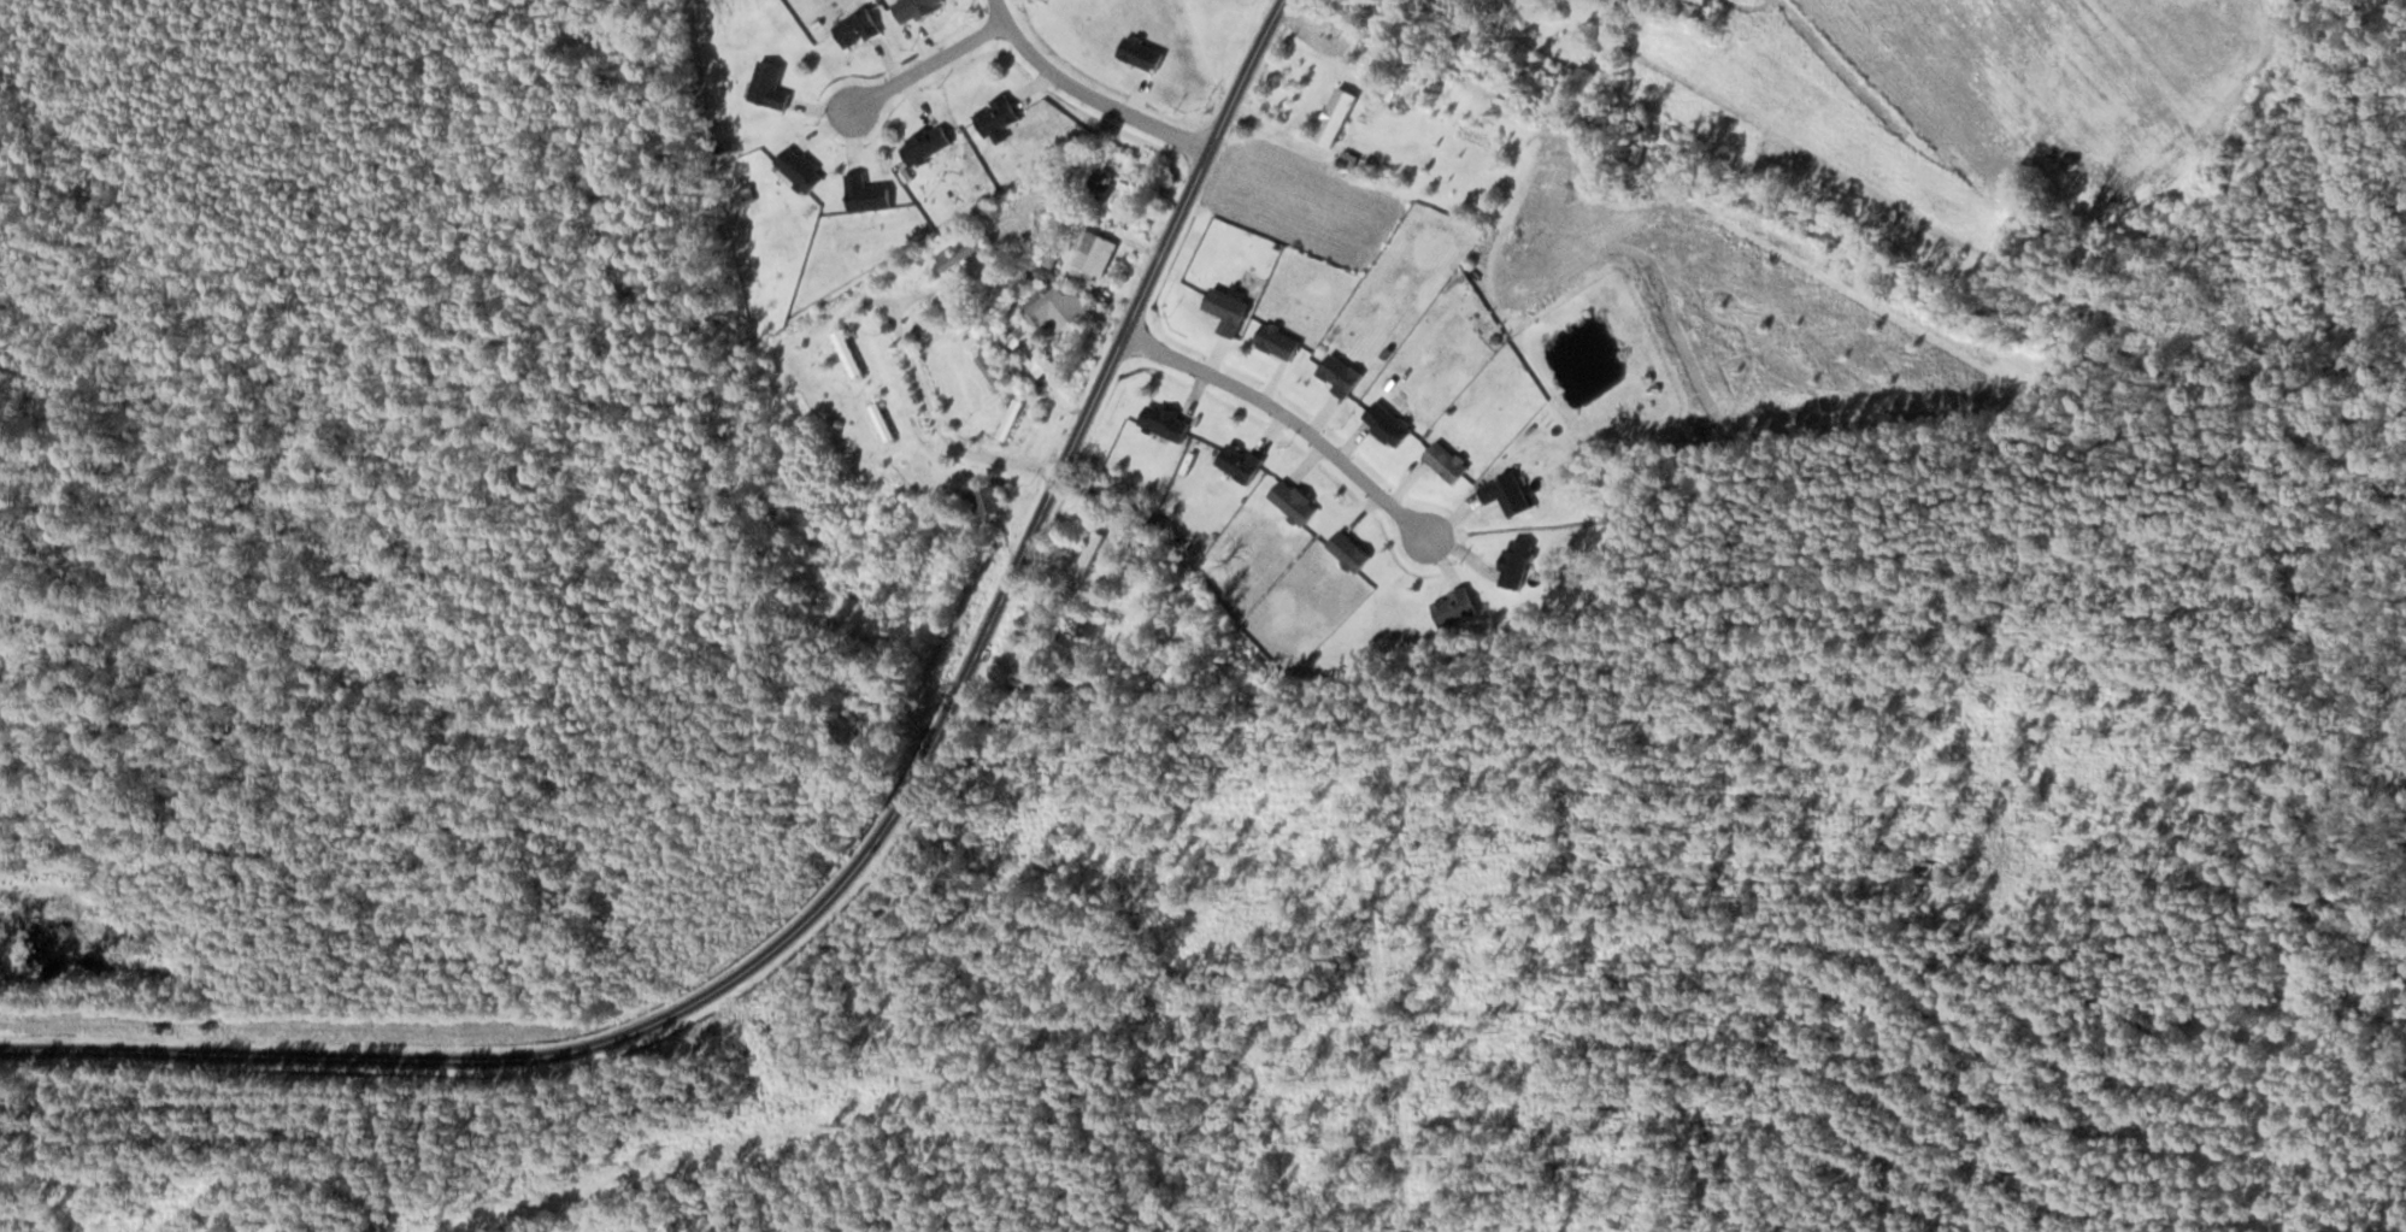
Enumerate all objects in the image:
building: (913, 7)
building: (855, 28)
building: (1140, 52)
road: (925, 64)
building: (767, 86)
road: (1086, 94)
building: (995, 116)
building: (1333, 116)
building: (924, 143)
building: (800, 167)
building: (1100, 181)
building: (865, 193)
building: (955, 255)
building: (1093, 255)
building: (1055, 306)
building: (1226, 310)
building: (1277, 340)
building: (847, 352)
building: (1028, 352)
building: (992, 371)
building: (1337, 375)
building: (1010, 419)
road: (1290, 419)
building: (881, 422)
building: (1164, 422)
building: (1386, 424)
building: (1239, 461)
building: (1445, 461)
building: (1505, 494)
building: (1101, 495)
building: (983, 501)
building: (1292, 501)
building: (876, 529)
building: (1347, 550)
building: (1087, 558)
building: (1513, 565)
building: (1452, 607)
building: (1155, 670)
building: (1087, 690)
road: (873, 845)

